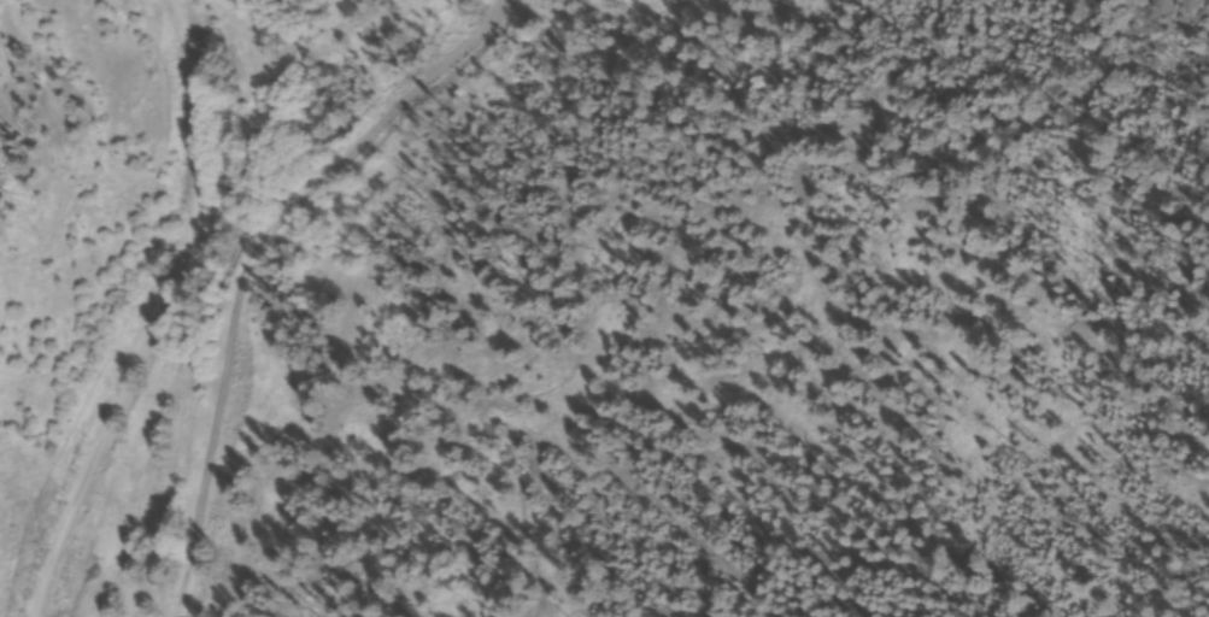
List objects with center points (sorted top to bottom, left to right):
road: (160, 315)

